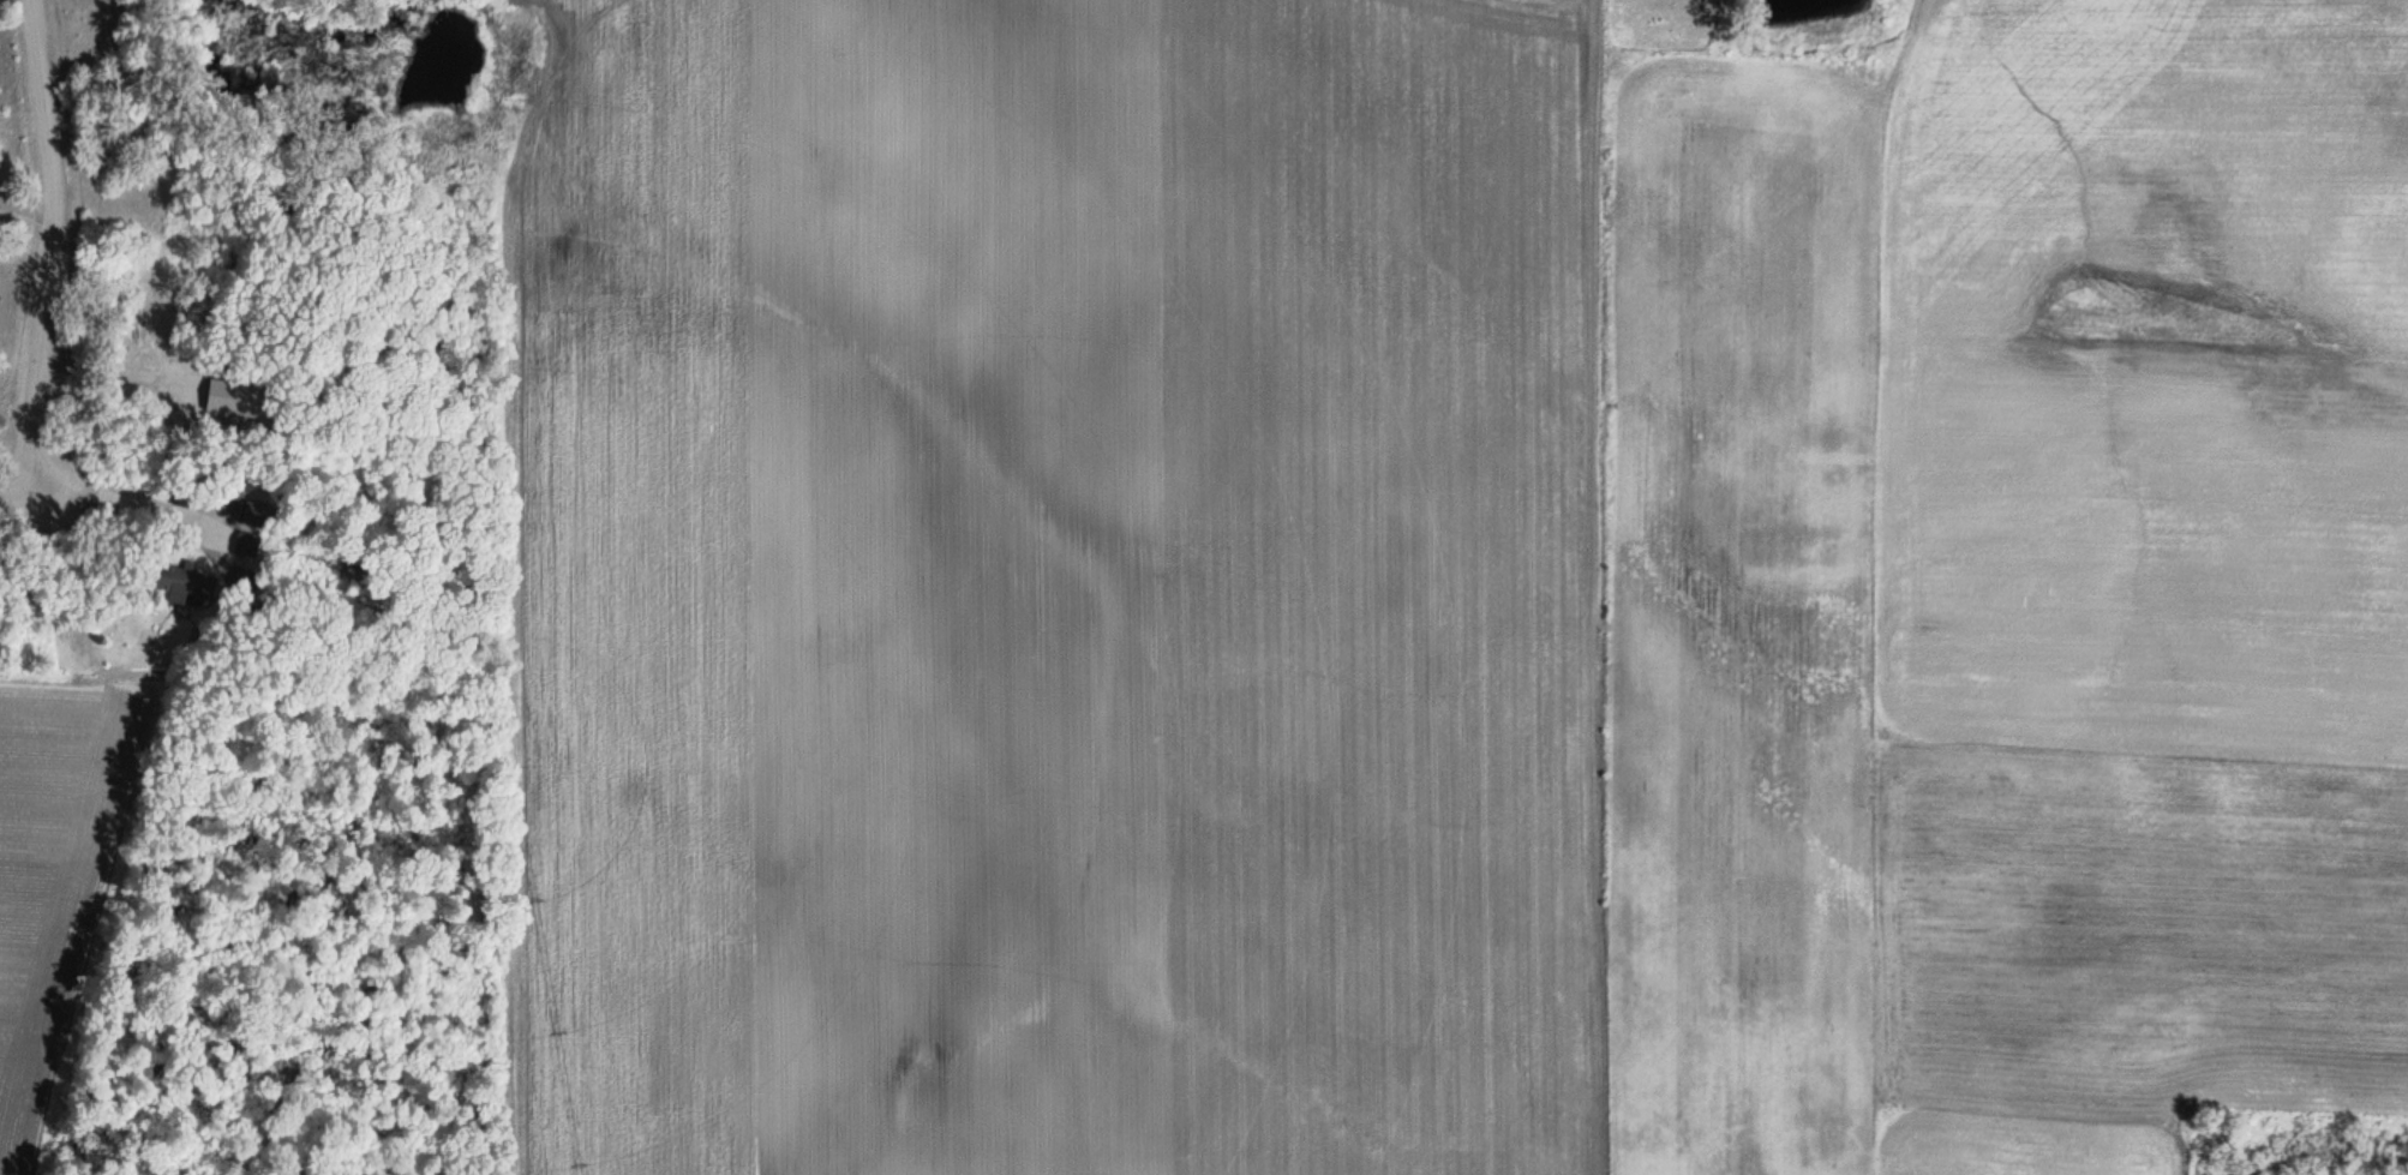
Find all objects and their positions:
building: (182, 583)

